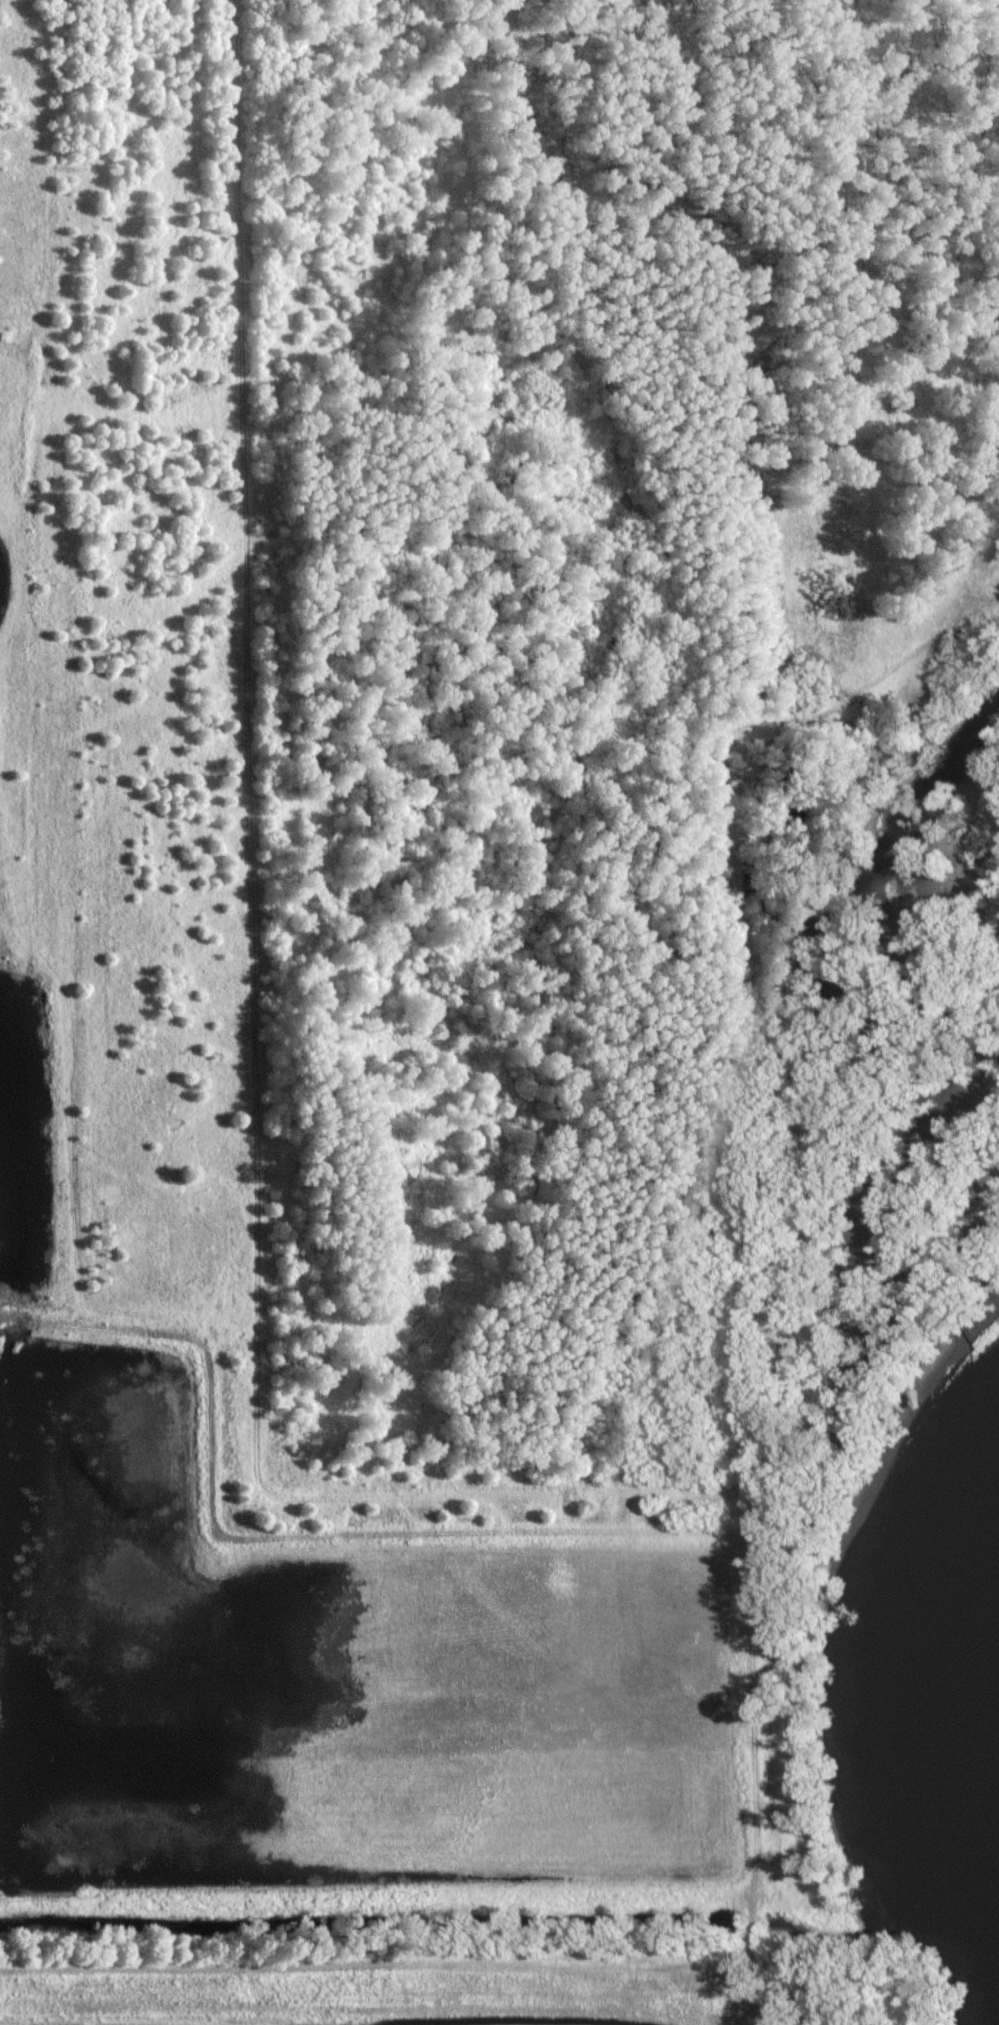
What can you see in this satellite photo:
road: (400, 1974)

